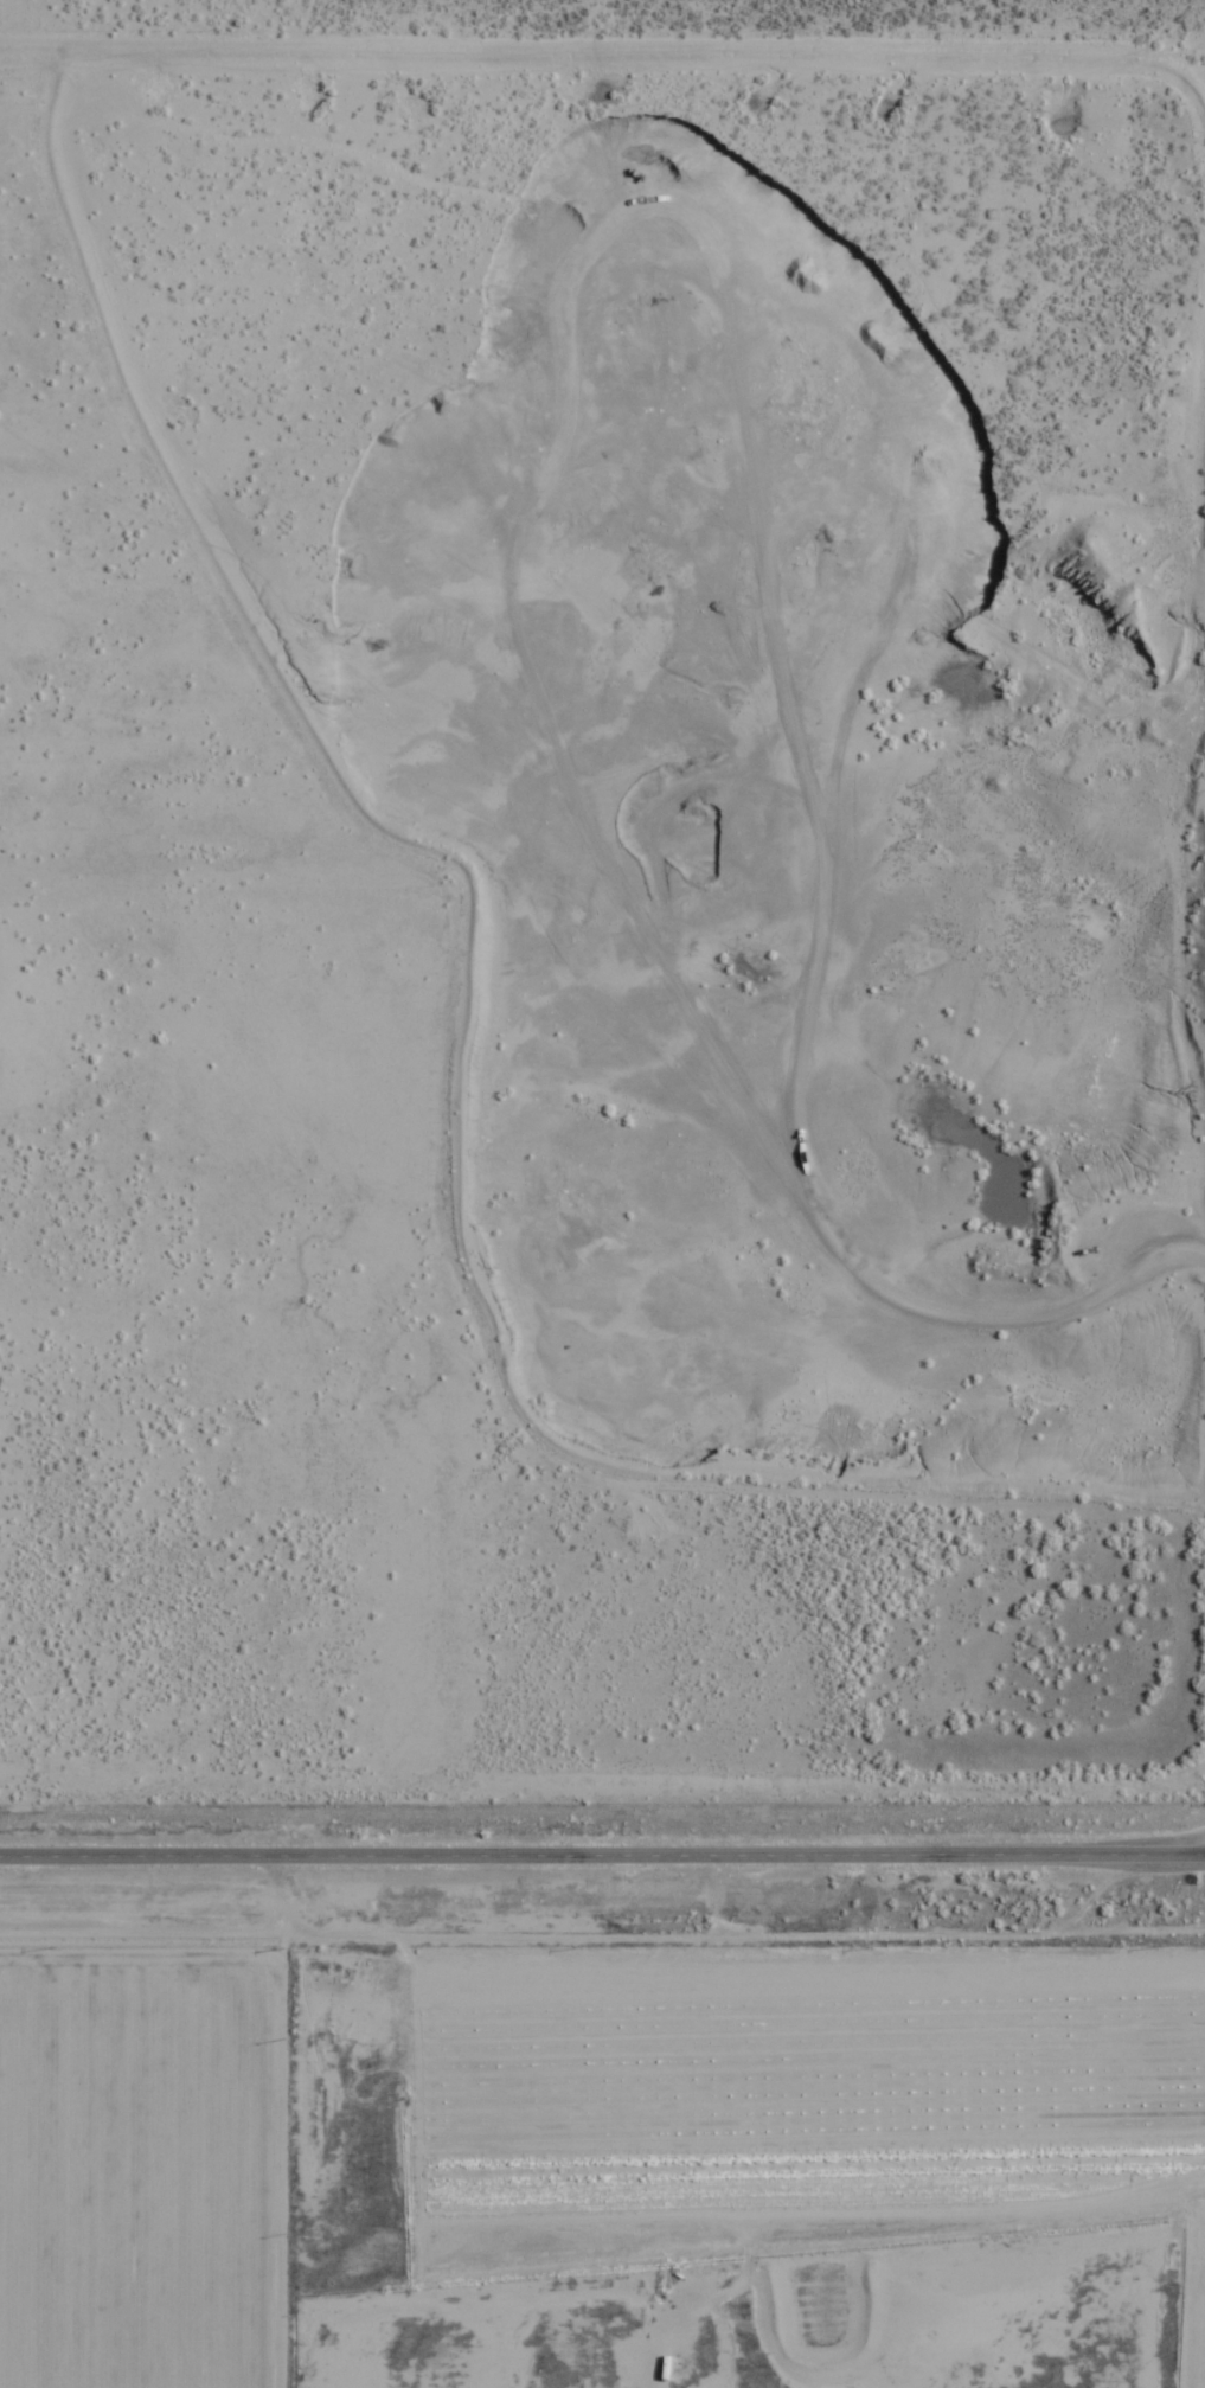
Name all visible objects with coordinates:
road: (602, 1855)

